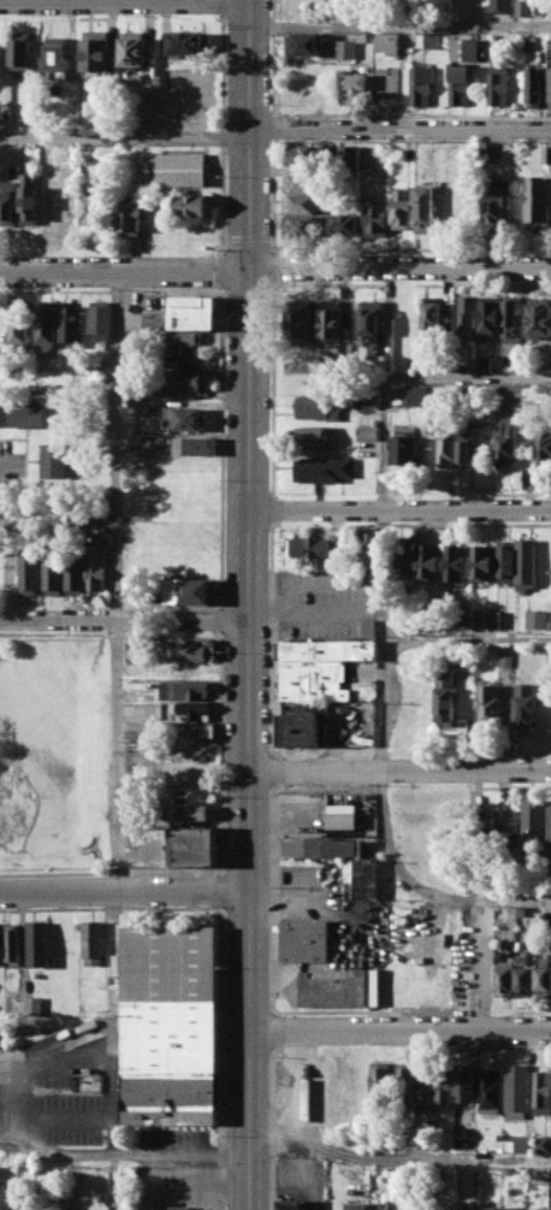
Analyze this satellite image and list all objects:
building: (499, 6)
building: (521, 8)
road: (399, 25)
building: (360, 37)
building: (429, 40)
building: (385, 42)
building: (184, 43)
building: (303, 45)
building: (339, 48)
building: (463, 48)
building: (19, 49)
building: (132, 49)
building: (95, 51)
road: (273, 59)
building: (54, 60)
building: (386, 83)
building: (458, 83)
building: (549, 83)
building: (420, 84)
building: (498, 85)
building: (534, 87)
building: (351, 88)
road: (411, 117)
road: (273, 129)
road: (399, 129)
road: (124, 140)
building: (488, 150)
building: (304, 155)
building: (350, 155)
building: (547, 155)
building: (173, 170)
building: (303, 183)
building: (28, 197)
building: (496, 202)
building: (538, 202)
building: (8, 203)
building: (300, 203)
building: (47, 205)
building: (67, 205)
building: (194, 205)
building: (90, 206)
building: (401, 208)
building: (426, 209)
building: (375, 217)
building: (128, 218)
building: (342, 224)
building: (302, 226)
road: (357, 249)
road: (275, 252)
traffic signals: (250, 267)
road: (274, 267)
road: (278, 267)
road: (280, 283)
building: (184, 314)
building: (467, 317)
building: (490, 317)
building: (432, 318)
building: (539, 318)
building: (100, 320)
building: (331, 320)
building: (297, 321)
building: (371, 323)
building: (70, 324)
building: (511, 325)
building: (17, 326)
building: (46, 327)
road: (273, 335)
building: (180, 338)
building: (184, 359)
building: (485, 362)
building: (185, 380)
building: (511, 392)
building: (417, 396)
building: (369, 401)
building: (318, 407)
building: (30, 413)
building: (186, 419)
building: (367, 433)
building: (315, 436)
road: (115, 443)
building: (446, 443)
building: (508, 443)
building: (407, 445)
building: (466, 445)
building: (200, 447)
building: (544, 448)
building: (58, 460)
road: (1, 467)
building: (324, 468)
road: (383, 491)
road: (401, 507)
road: (273, 509)
building: (314, 548)
building: (369, 549)
building: (407, 560)
building: (505, 561)
building: (429, 562)
building: (482, 562)
building: (456, 563)
building: (525, 565)
building: (99, 567)
building: (31, 573)
building: (54, 574)
building: (76, 576)
building: (191, 591)
road: (251, 604)
building: (502, 618)
building: (464, 619)
building: (482, 619)
building: (535, 619)
road: (125, 620)
road: (470, 639)
road: (277, 641)
building: (333, 645)
building: (191, 650)
building: (506, 657)
building: (313, 678)
building: (185, 690)
building: (446, 697)
building: (492, 704)
building: (527, 704)
building: (307, 707)
building: (190, 710)
building: (301, 730)
building: (195, 731)
road: (117, 754)
road: (401, 769)
road: (282, 771)
road: (514, 786)
road: (478, 787)
building: (191, 813)
building: (533, 820)
building: (342, 821)
building: (549, 822)
building: (484, 827)
building: (509, 830)
building: (195, 848)
building: (334, 848)
building: (366, 879)
road: (124, 889)
road: (419, 889)
road: (273, 897)
building: (525, 911)
building: (93, 940)
building: (304, 940)
building: (12, 945)
building: (38, 945)
building: (0, 950)
road: (487, 961)
building: (525, 976)
building: (544, 976)
building: (504, 979)
building: (339, 990)
building: (170, 998)
building: (32, 1005)
road: (395, 1011)
road: (401, 1027)
road: (278, 1029)
road: (113, 1074)
building: (380, 1079)
building: (404, 1082)
building: (466, 1082)
building: (425, 1084)
building: (445, 1090)
building: (517, 1091)
building: (491, 1092)
building: (543, 1092)
building: (170, 1097)
building: (426, 1121)
road: (272, 1125)
building: (523, 1144)
building: (543, 1144)
road: (125, 1156)
road: (399, 1158)
building: (291, 1205)
building: (355, 1205)
building: (180, 1206)
building: (515, 1208)
building: (384, 1209)
building: (488, 1209)
building: (539, 1209)
building: (550, 1209)

